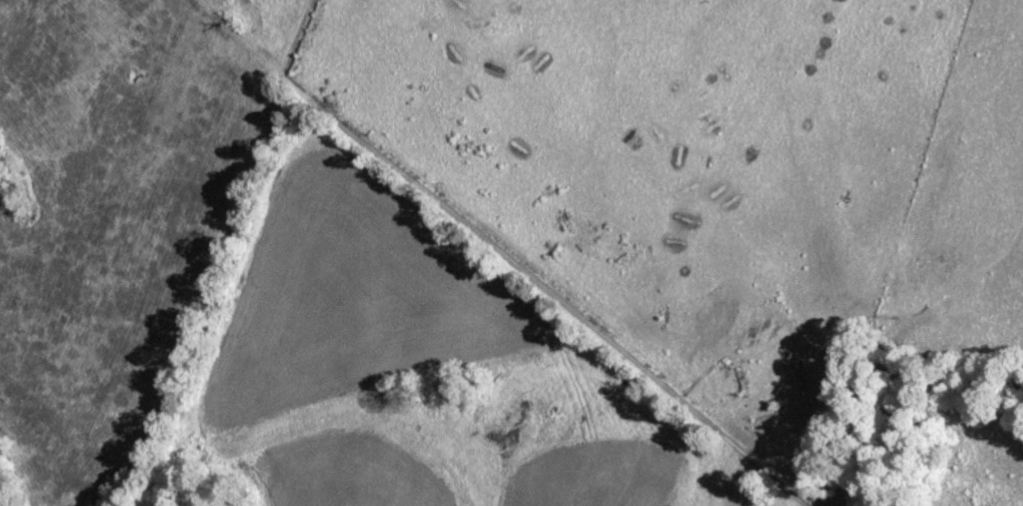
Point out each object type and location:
road: (260, 29)
road: (476, 252)

